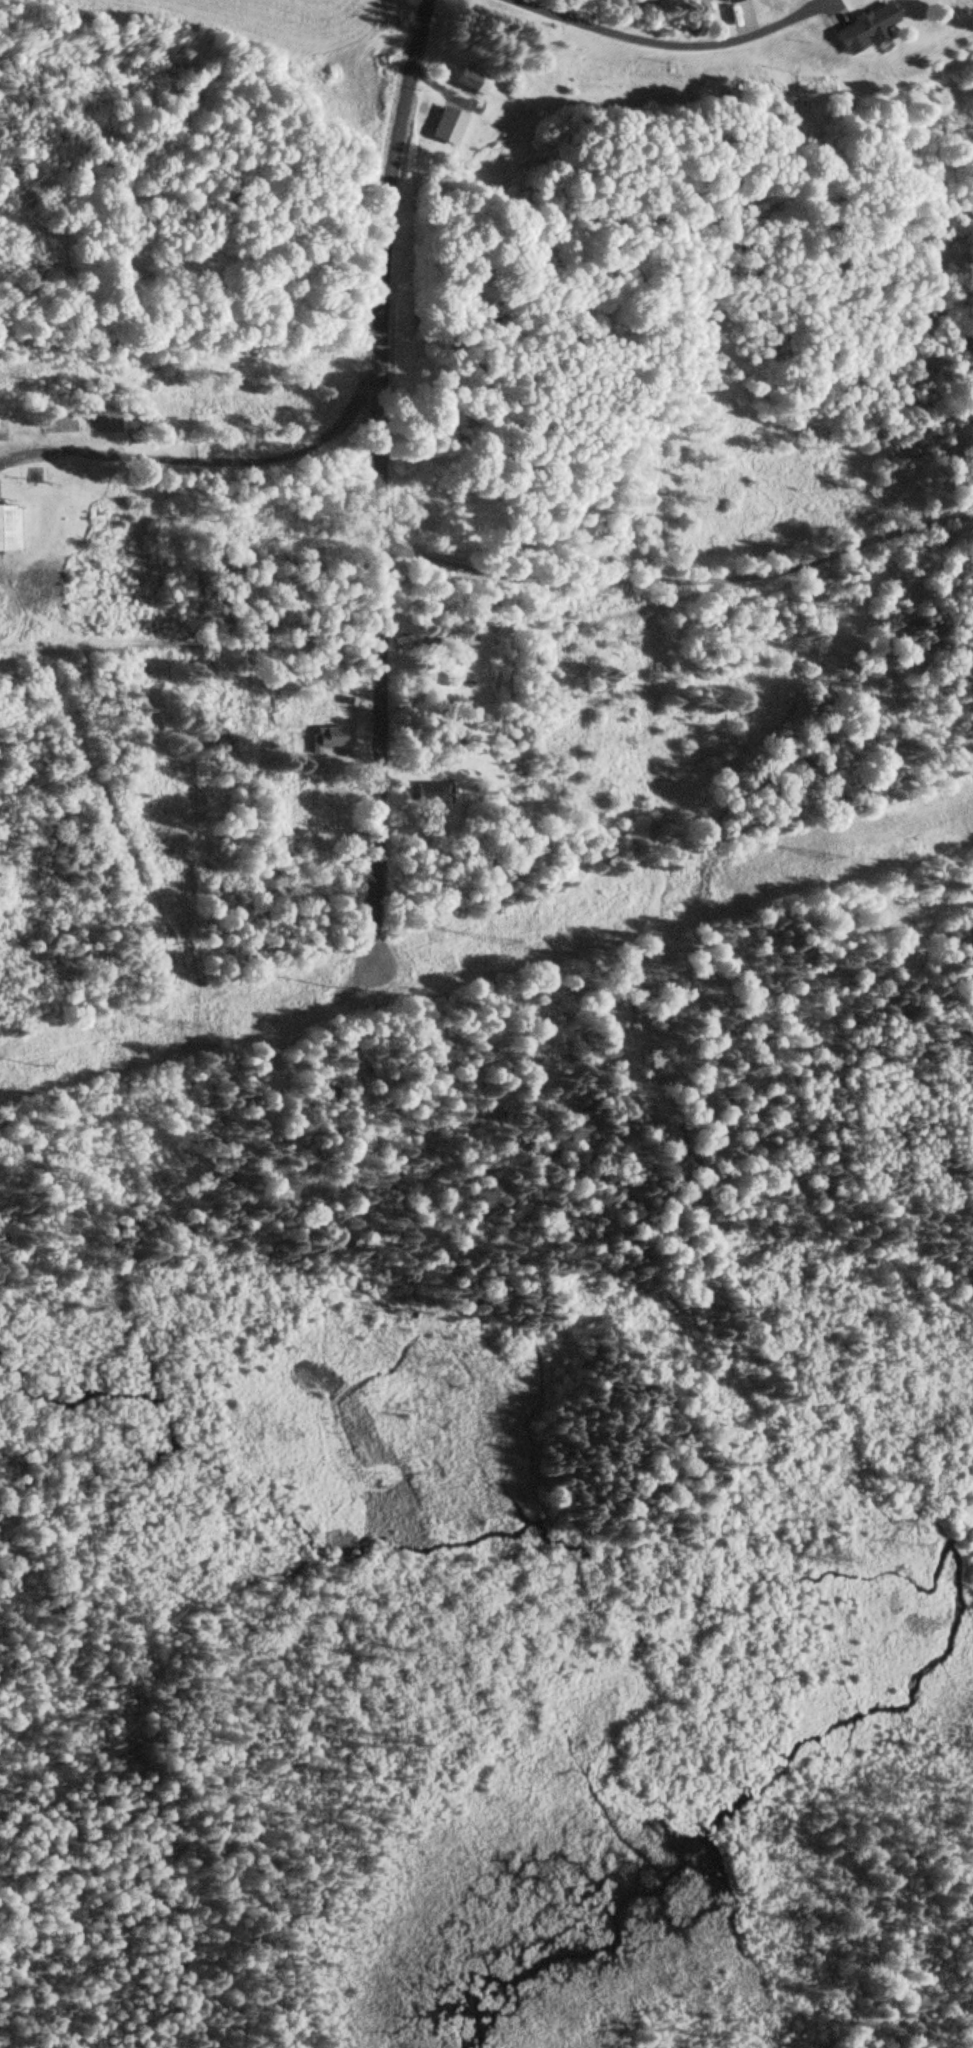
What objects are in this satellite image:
building: (730, 1)
building: (863, 31)
building: (467, 82)
building: (445, 128)
road: (204, 265)
road: (379, 477)
building: (7, 530)
building: (434, 643)
building: (330, 736)
building: (433, 793)
power tower: (825, 854)
power tower: (503, 943)
power tower: (187, 1023)

